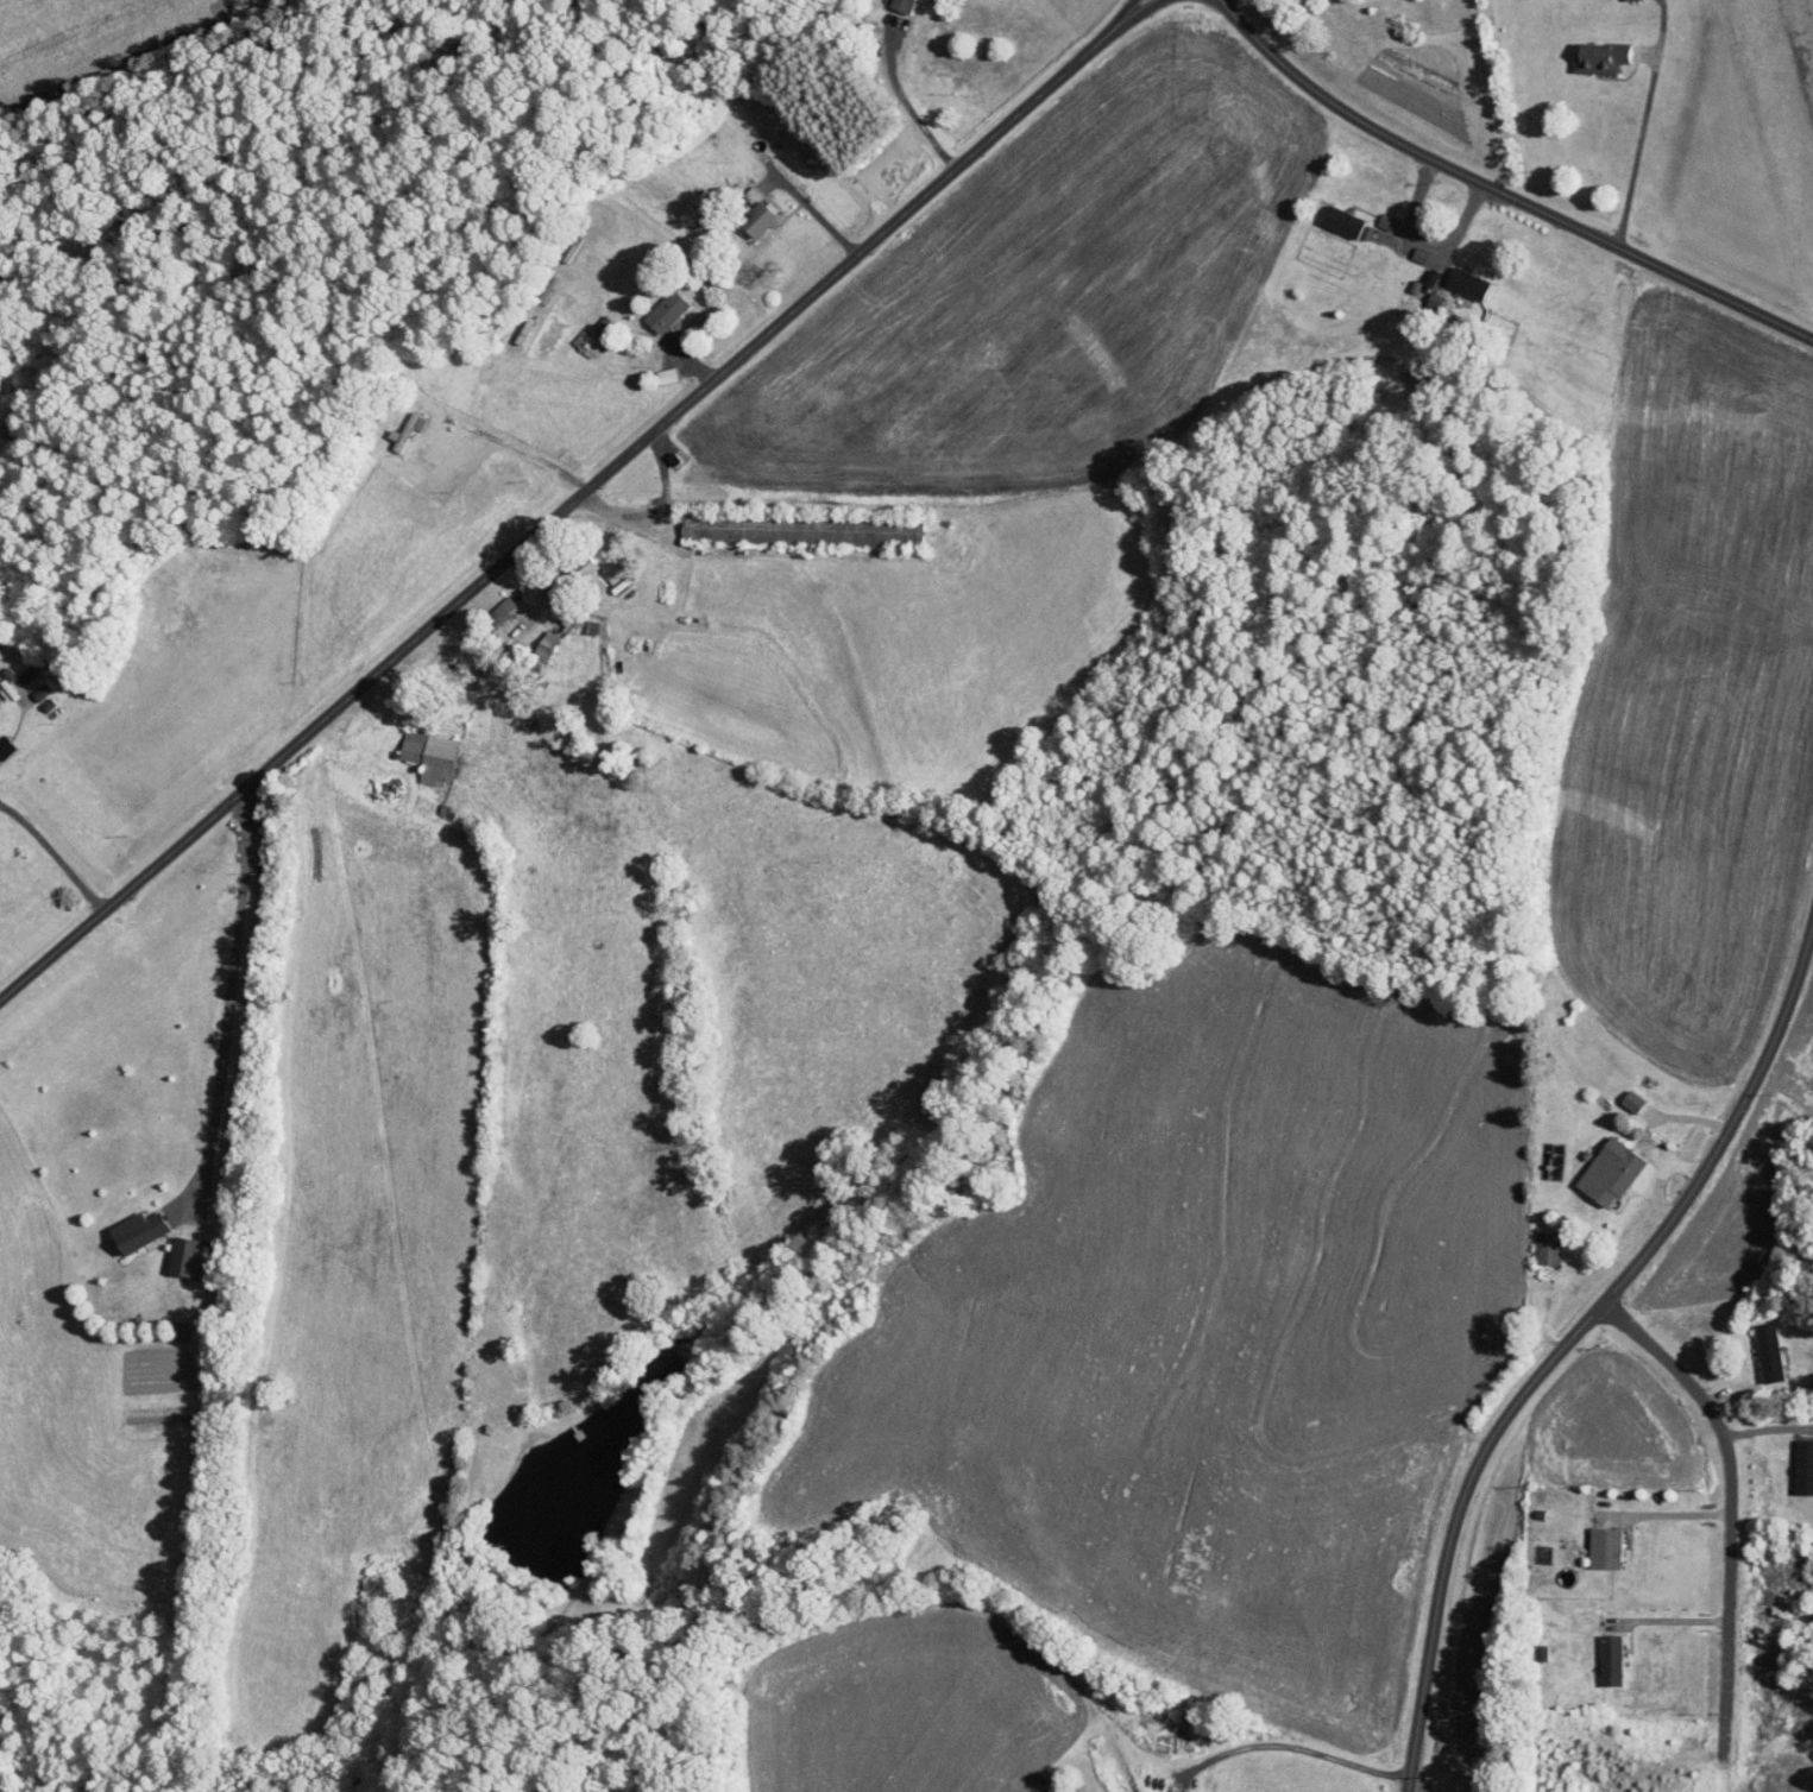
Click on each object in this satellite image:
building: (901, 6)
building: (1599, 58)
road: (908, 112)
airport runway: (1782, 115)
road: (1637, 152)
road: (1497, 197)
building: (757, 219)
building: (1343, 221)
building: (1385, 221)
road: (1418, 238)
building: (1419, 254)
building: (1430, 277)
building: (1468, 283)
building: (1433, 304)
building: (666, 310)
building: (585, 343)
road: (518, 448)
road: (568, 499)
building: (710, 530)
building: (501, 611)
building: (546, 644)
road: (195, 648)
building: (21, 680)
building: (39, 692)
building: (429, 755)
road: (53, 852)
road: (228, 992)
building: (1632, 1099)
building: (1610, 1171)
building: (138, 1229)
building: (1548, 1245)
building: (183, 1254)
building: (180, 1331)
building: (1770, 1351)
road: (1566, 1357)
road: (1769, 1440)
building: (1803, 1465)
road: (1674, 1522)
road: (1737, 1526)
building: (1605, 1546)
road: (1677, 1629)
building: (1612, 1658)
road: (1305, 1749)
building: (1135, 1791)

